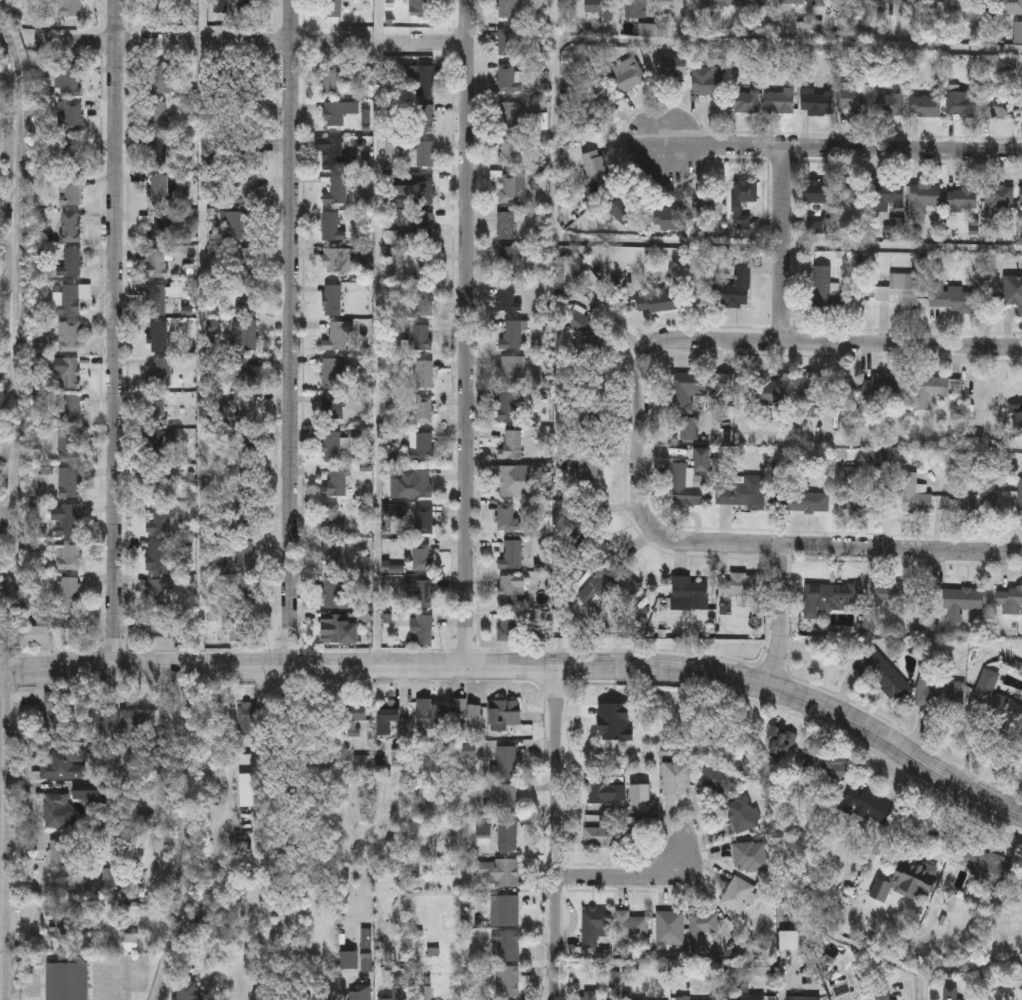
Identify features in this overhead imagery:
building: (685, 1)
building: (832, 1)
building: (239, 2)
building: (765, 2)
building: (720, 3)
building: (792, 3)
building: (640, 4)
building: (942, 4)
building: (978, 5)
building: (1010, 5)
building: (600, 6)
building: (865, 7)
building: (422, 8)
building: (905, 8)
building: (159, 9)
building: (334, 9)
building: (511, 9)
building: (71, 12)
road: (202, 19)
road: (250, 39)
building: (507, 42)
road: (788, 47)
building: (672, 67)
building: (627, 75)
building: (162, 79)
building: (510, 79)
building: (69, 80)
building: (331, 80)
building: (423, 80)
building: (708, 81)
road: (554, 82)
building: (569, 86)
building: (746, 101)
building: (781, 101)
building: (855, 101)
building: (818, 102)
building: (891, 104)
building: (962, 104)
building: (926, 106)
building: (248, 108)
building: (1000, 108)
building: (335, 114)
building: (592, 115)
building: (512, 116)
building: (73, 117)
building: (157, 117)
building: (422, 119)
road: (843, 150)
building: (71, 152)
building: (247, 152)
building: (511, 152)
building: (157, 154)
building: (424, 154)
building: (336, 155)
building: (594, 166)
building: (158, 187)
building: (247, 188)
building: (512, 188)
building: (337, 191)
building: (422, 191)
building: (746, 191)
building: (72, 192)
building: (817, 192)
building: (852, 194)
building: (891, 196)
building: (1002, 197)
building: (1021, 197)
building: (925, 198)
building: (963, 198)
building: (621, 208)
building: (708, 209)
building: (669, 220)
building: (820, 224)
building: (160, 226)
building: (240, 226)
building: (506, 226)
building: (71, 227)
building: (332, 227)
building: (424, 228)
road: (783, 245)
road: (902, 249)
building: (338, 261)
building: (509, 261)
building: (71, 263)
building: (159, 263)
building: (247, 264)
building: (424, 265)
building: (565, 271)
building: (735, 289)
building: (899, 291)
building: (1013, 292)
building: (825, 293)
building: (74, 298)
building: (954, 298)
building: (157, 300)
building: (507, 300)
building: (332, 301)
building: (424, 301)
building: (248, 302)
building: (660, 302)
building: (573, 315)
road: (288, 333)
road: (464, 333)
road: (113, 334)
road: (378, 334)
building: (70, 336)
building: (158, 336)
building: (250, 336)
building: (513, 336)
building: (337, 337)
building: (423, 338)
road: (845, 343)
building: (511, 371)
building: (161, 372)
building: (71, 373)
building: (333, 373)
building: (425, 375)
building: (881, 387)
building: (816, 388)
building: (681, 389)
building: (769, 390)
building: (928, 391)
building: (333, 408)
building: (509, 408)
building: (72, 409)
building: (157, 410)
building: (425, 410)
building: (246, 411)
building: (691, 429)
road: (640, 435)
building: (70, 446)
building: (156, 446)
building: (246, 446)
building: (332, 446)
building: (422, 446)
building: (512, 446)
building: (513, 480)
building: (71, 483)
building: (336, 483)
building: (157, 484)
building: (415, 484)
building: (684, 488)
building: (749, 493)
building: (859, 494)
building: (915, 495)
building: (1020, 502)
building: (809, 503)
building: (980, 503)
building: (507, 518)
building: (160, 519)
building: (68, 520)
building: (331, 520)
building: (425, 520)
road: (843, 549)
building: (333, 553)
building: (156, 555)
building: (69, 556)
building: (245, 556)
building: (511, 556)
building: (422, 557)
building: (740, 588)
building: (510, 589)
building: (594, 590)
building: (70, 591)
building: (156, 593)
building: (247, 593)
building: (419, 594)
building: (689, 594)
building: (334, 595)
building: (892, 595)
building: (835, 597)
building: (1010, 599)
building: (956, 601)
road: (778, 615)
building: (242, 627)
building: (508, 627)
building: (334, 629)
building: (423, 629)
building: (30, 633)
road: (387, 667)
building: (887, 676)
building: (940, 693)
building: (995, 700)
building: (430, 714)
building: (466, 714)
building: (505, 714)
building: (354, 720)
building: (387, 720)
building: (247, 721)
building: (55, 722)
building: (607, 724)
building: (124, 728)
building: (781, 744)
road: (897, 748)
building: (64, 764)
building: (505, 764)
building: (831, 770)
building: (677, 779)
building: (716, 780)
building: (605, 792)
building: (640, 800)
building: (506, 802)
building: (869, 808)
building: (59, 812)
building: (744, 816)
road: (556, 832)
road: (2, 836)
building: (606, 837)
building: (508, 839)
building: (751, 858)
building: (61, 860)
building: (987, 866)
building: (500, 873)
road: (622, 878)
building: (110, 883)
building: (909, 885)
building: (739, 896)
building: (508, 913)
building: (61, 923)
building: (595, 928)
building: (631, 929)
building: (670, 929)
building: (702, 930)
building: (789, 941)
building: (132, 945)
building: (507, 947)
building: (349, 961)
building: (763, 968)
building: (66, 982)
building: (507, 983)
building: (187, 991)
building: (361, 993)
building: (950, 993)
building: (422, 994)
building: (744, 994)
building: (397, 995)
building: (324, 996)
building: (846, 997)
building: (888, 998)
building: (173, 999)
building: (803, 999)

